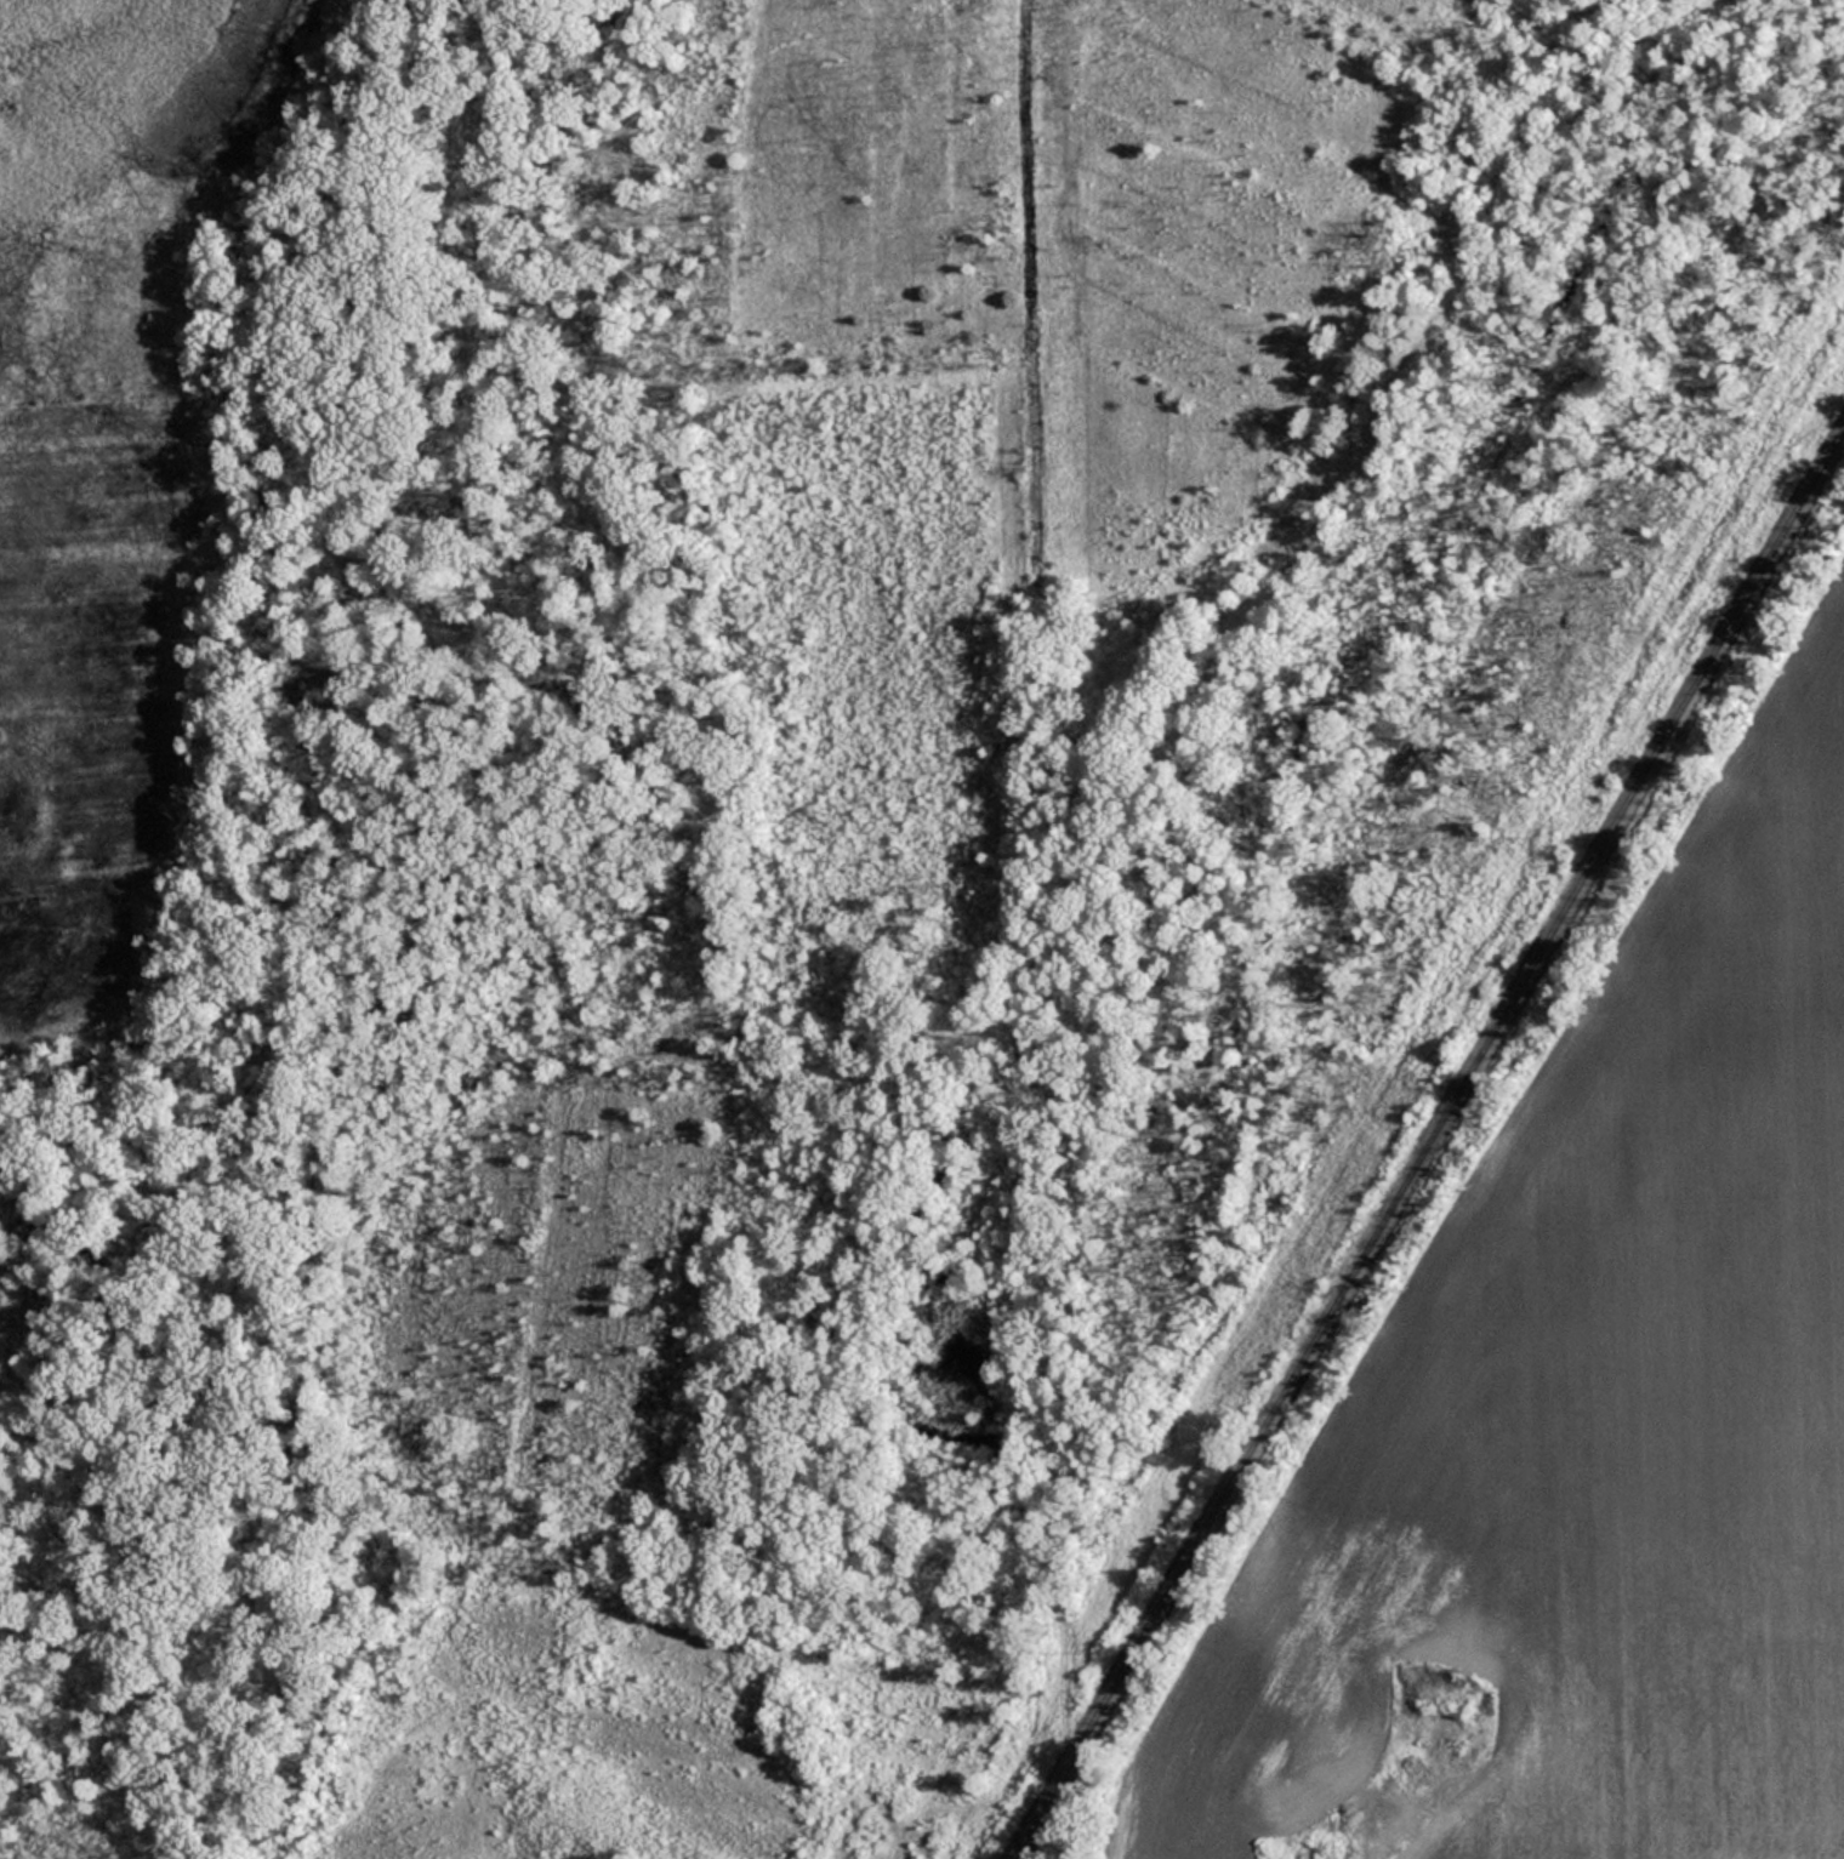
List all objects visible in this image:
railway: (1429, 1142)

